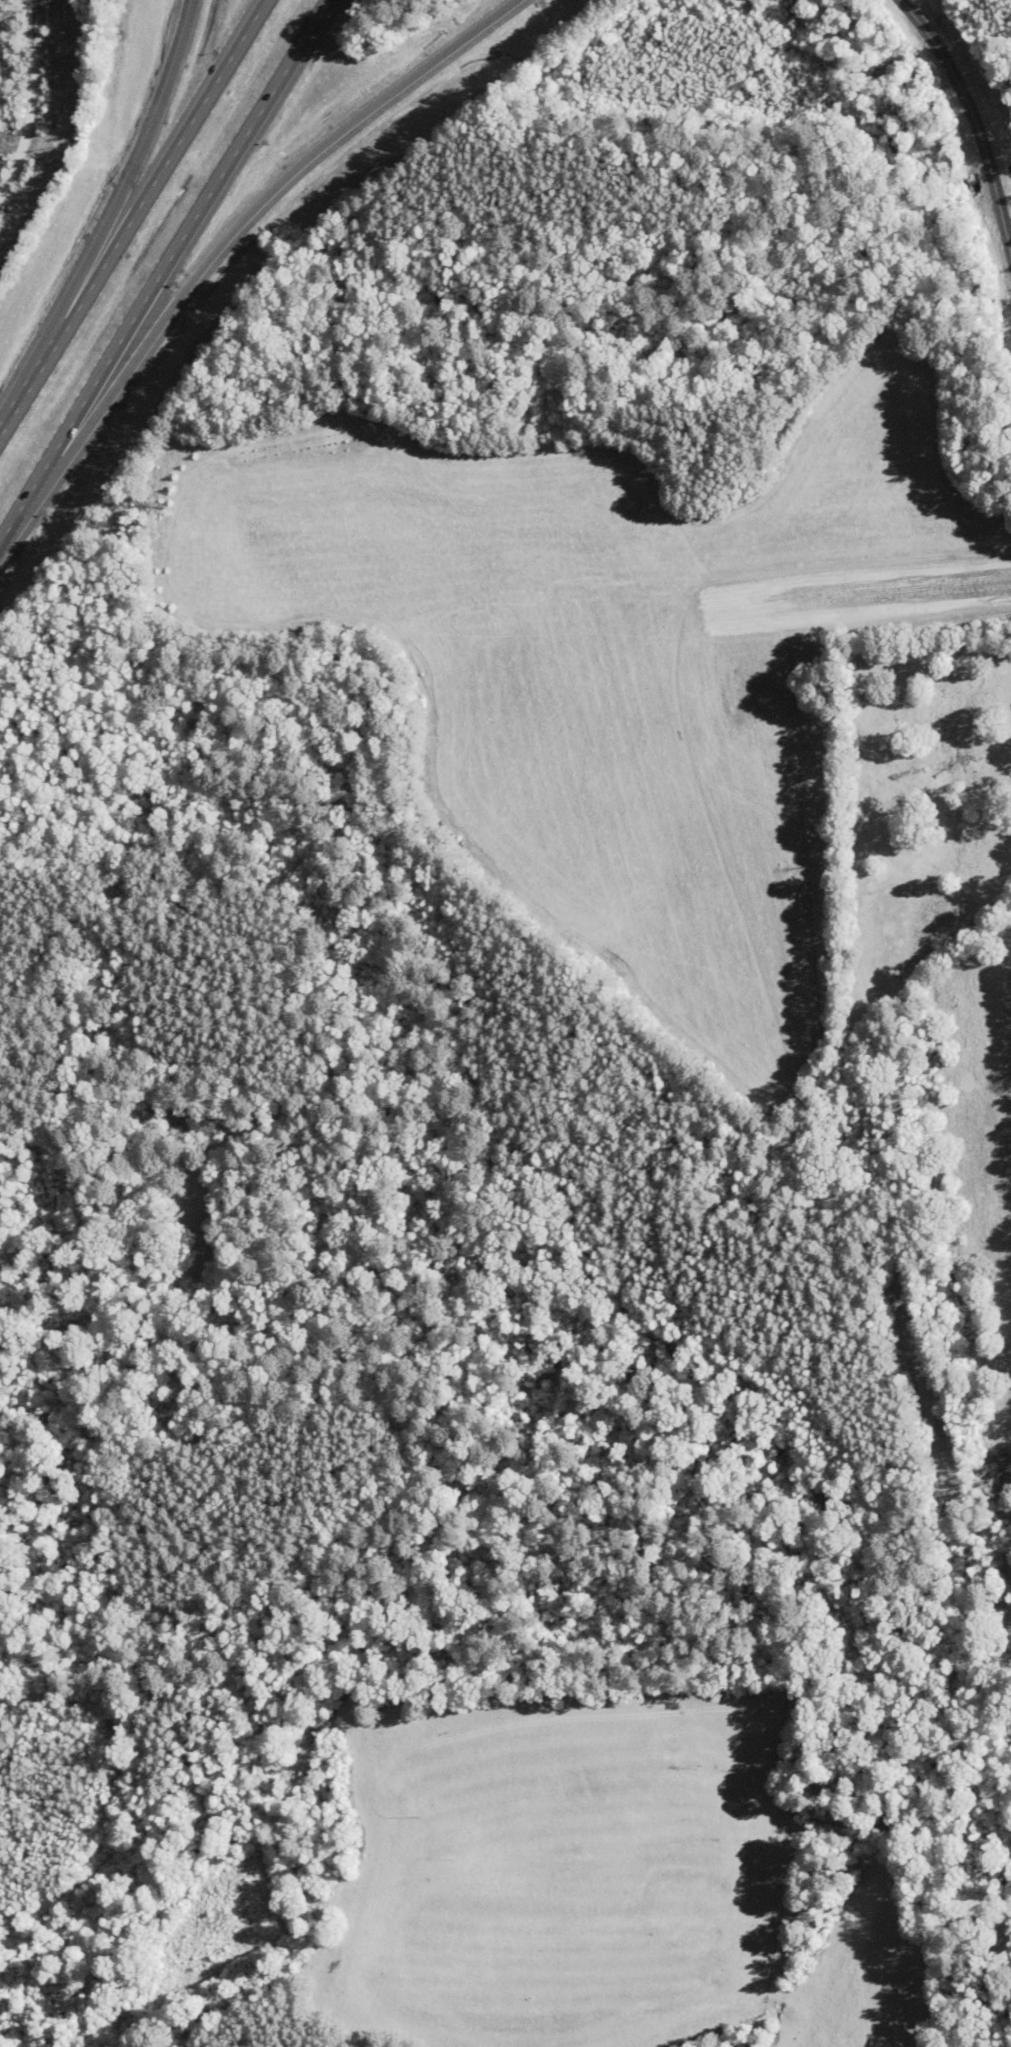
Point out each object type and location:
road: (972, 114)
road: (129, 178)
road: (249, 214)
road: (133, 217)
road: (180, 240)
road: (18, 513)

